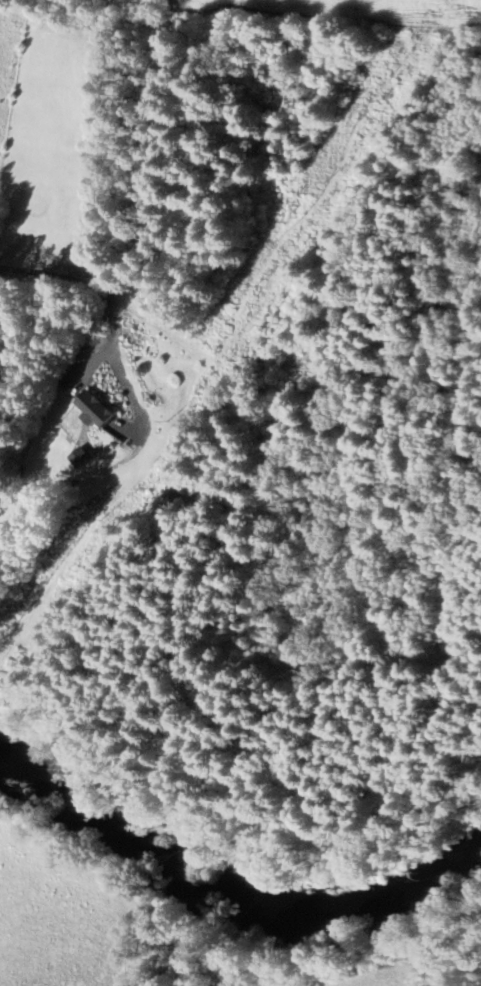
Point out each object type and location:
road: (85, 282)
building: (92, 409)
building: (80, 458)
river: (100, 824)
river: (350, 915)

